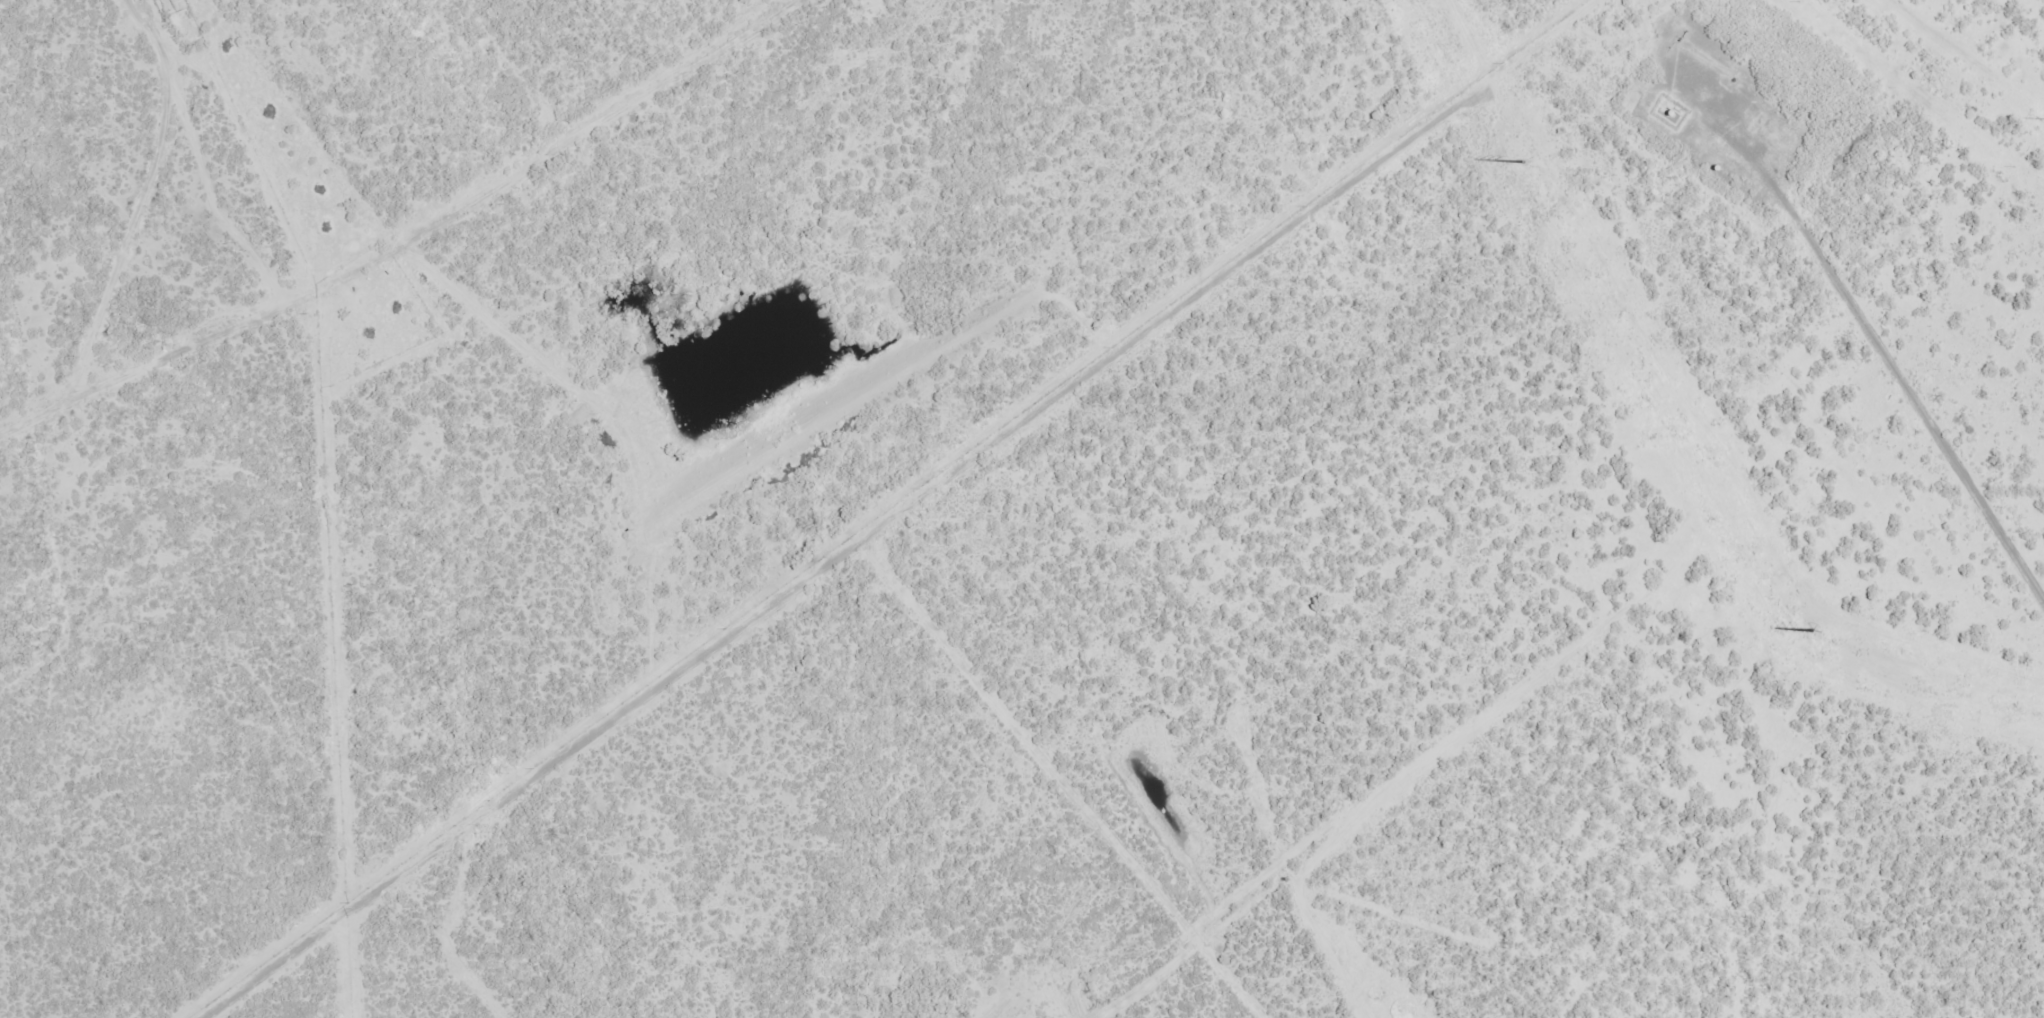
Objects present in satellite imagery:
power tower: (2041, 119)
road: (186, 147)
power tower: (1524, 164)
road: (383, 230)
road: (117, 246)
power tower: (1813, 632)

